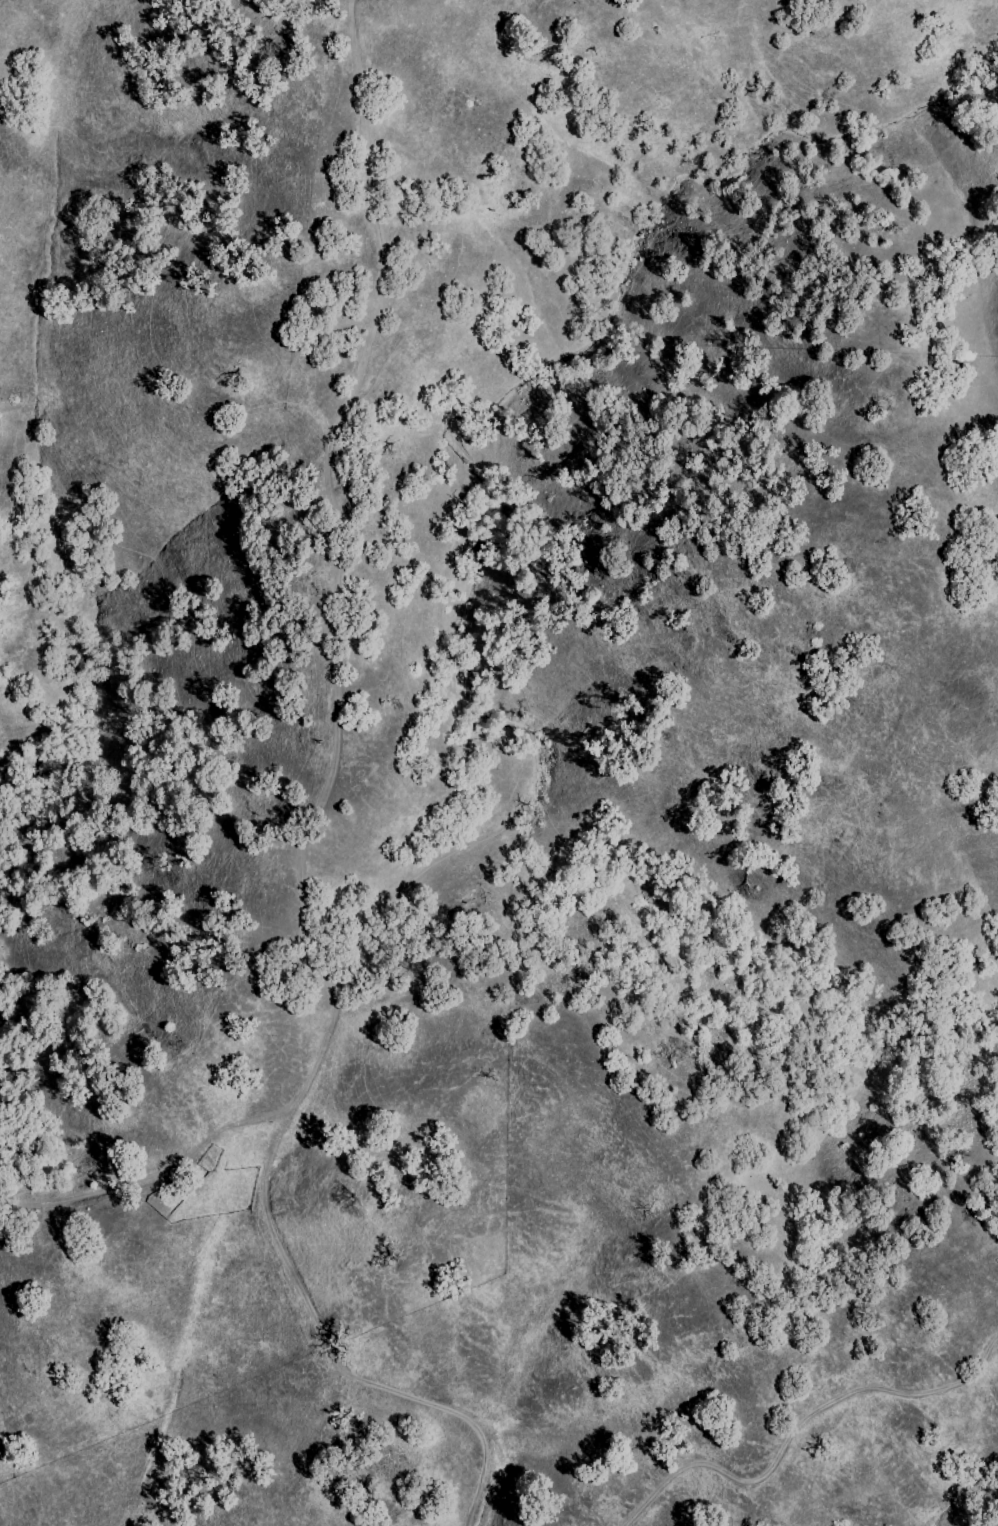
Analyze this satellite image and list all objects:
road: (329, 508)
road: (162, 1172)
road: (310, 1313)
road: (795, 1434)

